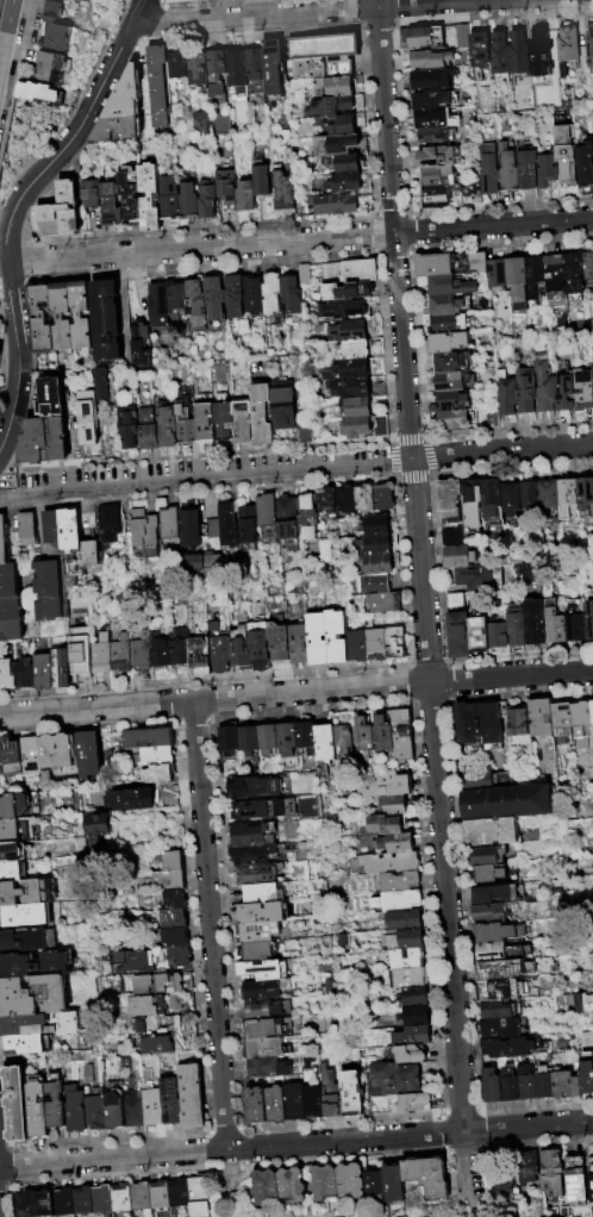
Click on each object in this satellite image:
building: (183, 1)
road: (316, 14)
building: (56, 27)
road: (6, 30)
building: (463, 36)
building: (423, 38)
building: (589, 42)
building: (481, 48)
building: (568, 48)
building: (519, 51)
building: (539, 51)
building: (500, 52)
building: (327, 55)
building: (430, 60)
building: (181, 63)
building: (51, 65)
building: (277, 67)
building: (201, 69)
building: (239, 69)
building: (260, 69)
building: (219, 71)
building: (431, 79)
building: (342, 86)
building: (163, 87)
building: (37, 92)
building: (433, 98)
building: (338, 106)
building: (125, 111)
road: (386, 117)
building: (435, 118)
building: (200, 123)
building: (350, 125)
building: (432, 135)
building: (344, 145)
building: (567, 154)
building: (438, 155)
building: (349, 163)
building: (586, 164)
building: (529, 168)
building: (489, 169)
building: (547, 169)
building: (508, 170)
building: (438, 175)
building: (264, 180)
building: (345, 183)
building: (230, 191)
building: (287, 193)
building: (469, 193)
building: (93, 195)
building: (437, 195)
building: (249, 196)
building: (152, 198)
building: (133, 199)
building: (173, 199)
building: (210, 200)
building: (192, 201)
building: (338, 204)
building: (114, 205)
building: (67, 208)
road: (13, 212)
road: (494, 226)
road: (201, 249)
building: (480, 262)
building: (437, 264)
building: (588, 266)
building: (350, 272)
building: (499, 274)
building: (305, 275)
building: (536, 275)
building: (576, 276)
building: (557, 277)
building: (518, 282)
building: (447, 286)
building: (347, 291)
building: (274, 294)
building: (293, 294)
building: (254, 297)
building: (236, 298)
building: (217, 299)
building: (177, 300)
building: (196, 301)
building: (448, 304)
building: (160, 306)
building: (343, 308)
building: (88, 317)
building: (69, 318)
building: (48, 319)
building: (113, 323)
building: (450, 324)
building: (349, 330)
building: (449, 342)
building: (142, 347)
building: (354, 350)
building: (451, 362)
building: (348, 370)
building: (451, 381)
building: (100, 382)
building: (545, 386)
building: (356, 388)
building: (526, 391)
building: (566, 392)
building: (588, 392)
building: (61, 394)
building: (504, 401)
building: (450, 402)
road: (8, 405)
building: (360, 407)
building: (287, 410)
building: (264, 416)
building: (456, 419)
building: (226, 420)
building: (93, 423)
building: (245, 424)
building: (207, 425)
building: (187, 427)
building: (363, 427)
building: (169, 429)
building: (150, 431)
building: (132, 432)
building: (51, 443)
road: (412, 458)
road: (295, 470)
building: (529, 495)
building: (585, 495)
building: (387, 497)
building: (510, 498)
building: (368, 499)
building: (449, 499)
building: (348, 500)
building: (548, 501)
building: (329, 503)
building: (470, 503)
building: (568, 503)
building: (491, 506)
building: (270, 516)
building: (310, 517)
building: (289, 519)
building: (114, 524)
building: (173, 525)
building: (230, 525)
building: (377, 526)
building: (250, 528)
building: (146, 529)
building: (193, 529)
building: (31, 530)
building: (213, 530)
building: (73, 531)
building: (452, 536)
building: (5, 541)
building: (376, 545)
building: (457, 556)
building: (94, 557)
building: (212, 560)
building: (193, 561)
building: (380, 564)
building: (54, 575)
building: (477, 578)
building: (10, 581)
building: (375, 583)
building: (455, 600)
building: (387, 603)
building: (589, 618)
building: (531, 619)
building: (575, 619)
building: (13, 620)
building: (554, 620)
building: (516, 628)
building: (476, 631)
building: (457, 635)
building: (497, 636)
building: (339, 637)
building: (320, 639)
building: (377, 643)
building: (398, 643)
building: (261, 644)
building: (281, 644)
building: (301, 645)
building: (181, 647)
building: (358, 647)
building: (162, 651)
building: (143, 653)
building: (124, 654)
building: (223, 654)
building: (243, 654)
building: (104, 655)
building: (202, 657)
building: (83, 660)
building: (63, 669)
building: (45, 673)
building: (8, 675)
building: (27, 675)
road: (511, 676)
road: (312, 692)
road: (96, 709)
building: (544, 718)
building: (583, 718)
building: (566, 723)
building: (469, 724)
building: (492, 724)
building: (519, 724)
building: (146, 735)
building: (385, 735)
building: (405, 736)
building: (308, 738)
building: (269, 739)
building: (289, 739)
building: (366, 739)
building: (250, 742)
building: (348, 742)
building: (231, 743)
building: (327, 743)
building: (155, 754)
building: (63, 755)
building: (92, 755)
building: (32, 757)
building: (13, 759)
building: (2, 761)
building: (156, 772)
building: (489, 781)
building: (386, 787)
building: (242, 790)
building: (133, 797)
building: (18, 804)
building: (508, 804)
building: (397, 806)
building: (262, 811)
building: (389, 826)
building: (12, 829)
building: (94, 830)
building: (498, 832)
building: (256, 836)
building: (388, 844)
building: (12, 849)
building: (256, 856)
building: (163, 857)
building: (491, 857)
building: (392, 863)
building: (12, 869)
building: (492, 874)
building: (261, 875)
building: (160, 878)
building: (401, 882)
building: (26, 891)
building: (266, 894)
building: (498, 895)
building: (173, 899)
building: (399, 901)
road: (447, 907)
building: (23, 913)
building: (267, 913)
building: (495, 913)
building: (171, 918)
building: (405, 922)
road: (211, 925)
building: (499, 932)
building: (261, 934)
building: (174, 937)
building: (26, 940)
building: (410, 941)
building: (258, 953)
building: (504, 954)
building: (177, 956)
building: (125, 960)
building: (410, 960)
building: (36, 962)
building: (267, 971)
building: (506, 972)
building: (410, 978)
building: (162, 982)
building: (268, 991)
building: (498, 992)
building: (33, 996)
building: (414, 997)
building: (583, 1004)
building: (148, 1009)
building: (269, 1010)
building: (504, 1011)
building: (418, 1016)
building: (39, 1023)
building: (267, 1029)
building: (506, 1029)
building: (188, 1030)
building: (419, 1035)
building: (27, 1042)
building: (155, 1043)
building: (514, 1048)
building: (268, 1049)
building: (412, 1055)
building: (270, 1069)
building: (545, 1075)
building: (587, 1076)
building: (397, 1080)
building: (529, 1082)
building: (567, 1084)
building: (512, 1085)
building: (494, 1086)
building: (333, 1093)
building: (354, 1093)
building: (189, 1094)
building: (55, 1101)
building: (168, 1101)
building: (306, 1101)
building: (15, 1104)
building: (404, 1104)
road: (538, 1104)
building: (36, 1105)
building: (112, 1105)
building: (268, 1106)
building: (131, 1107)
building: (150, 1107)
road: (461, 1109)
building: (74, 1110)
building: (94, 1110)
road: (485, 1128)
road: (529, 1128)
road: (442, 1131)
road: (345, 1141)
road: (539, 1143)
road: (466, 1148)
road: (113, 1159)
road: (467, 1166)
building: (528, 1167)
building: (553, 1171)
building: (424, 1174)
building: (348, 1179)
building: (575, 1179)
building: (320, 1181)
building: (389, 1181)
road: (221, 1182)
building: (288, 1184)
building: (591, 1184)
building: (262, 1185)
building: (370, 1185)
building: (500, 1187)
building: (156, 1192)
building: (137, 1194)
building: (176, 1194)
building: (195, 1196)
building: (80, 1199)
building: (118, 1199)
building: (61, 1200)
building: (99, 1200)
building: (42, 1202)
building: (23, 1203)

